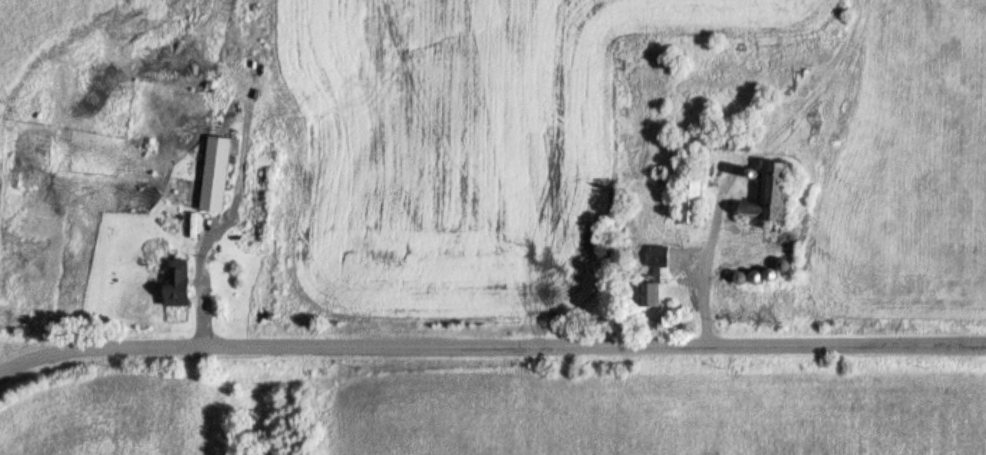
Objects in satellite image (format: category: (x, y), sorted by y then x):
building: (726, 136)
building: (224, 172)
building: (776, 184)
building: (696, 192)
road: (723, 219)
road: (216, 239)
building: (663, 253)
building: (652, 262)
building: (185, 283)
building: (655, 289)
building: (645, 294)
road: (490, 346)

